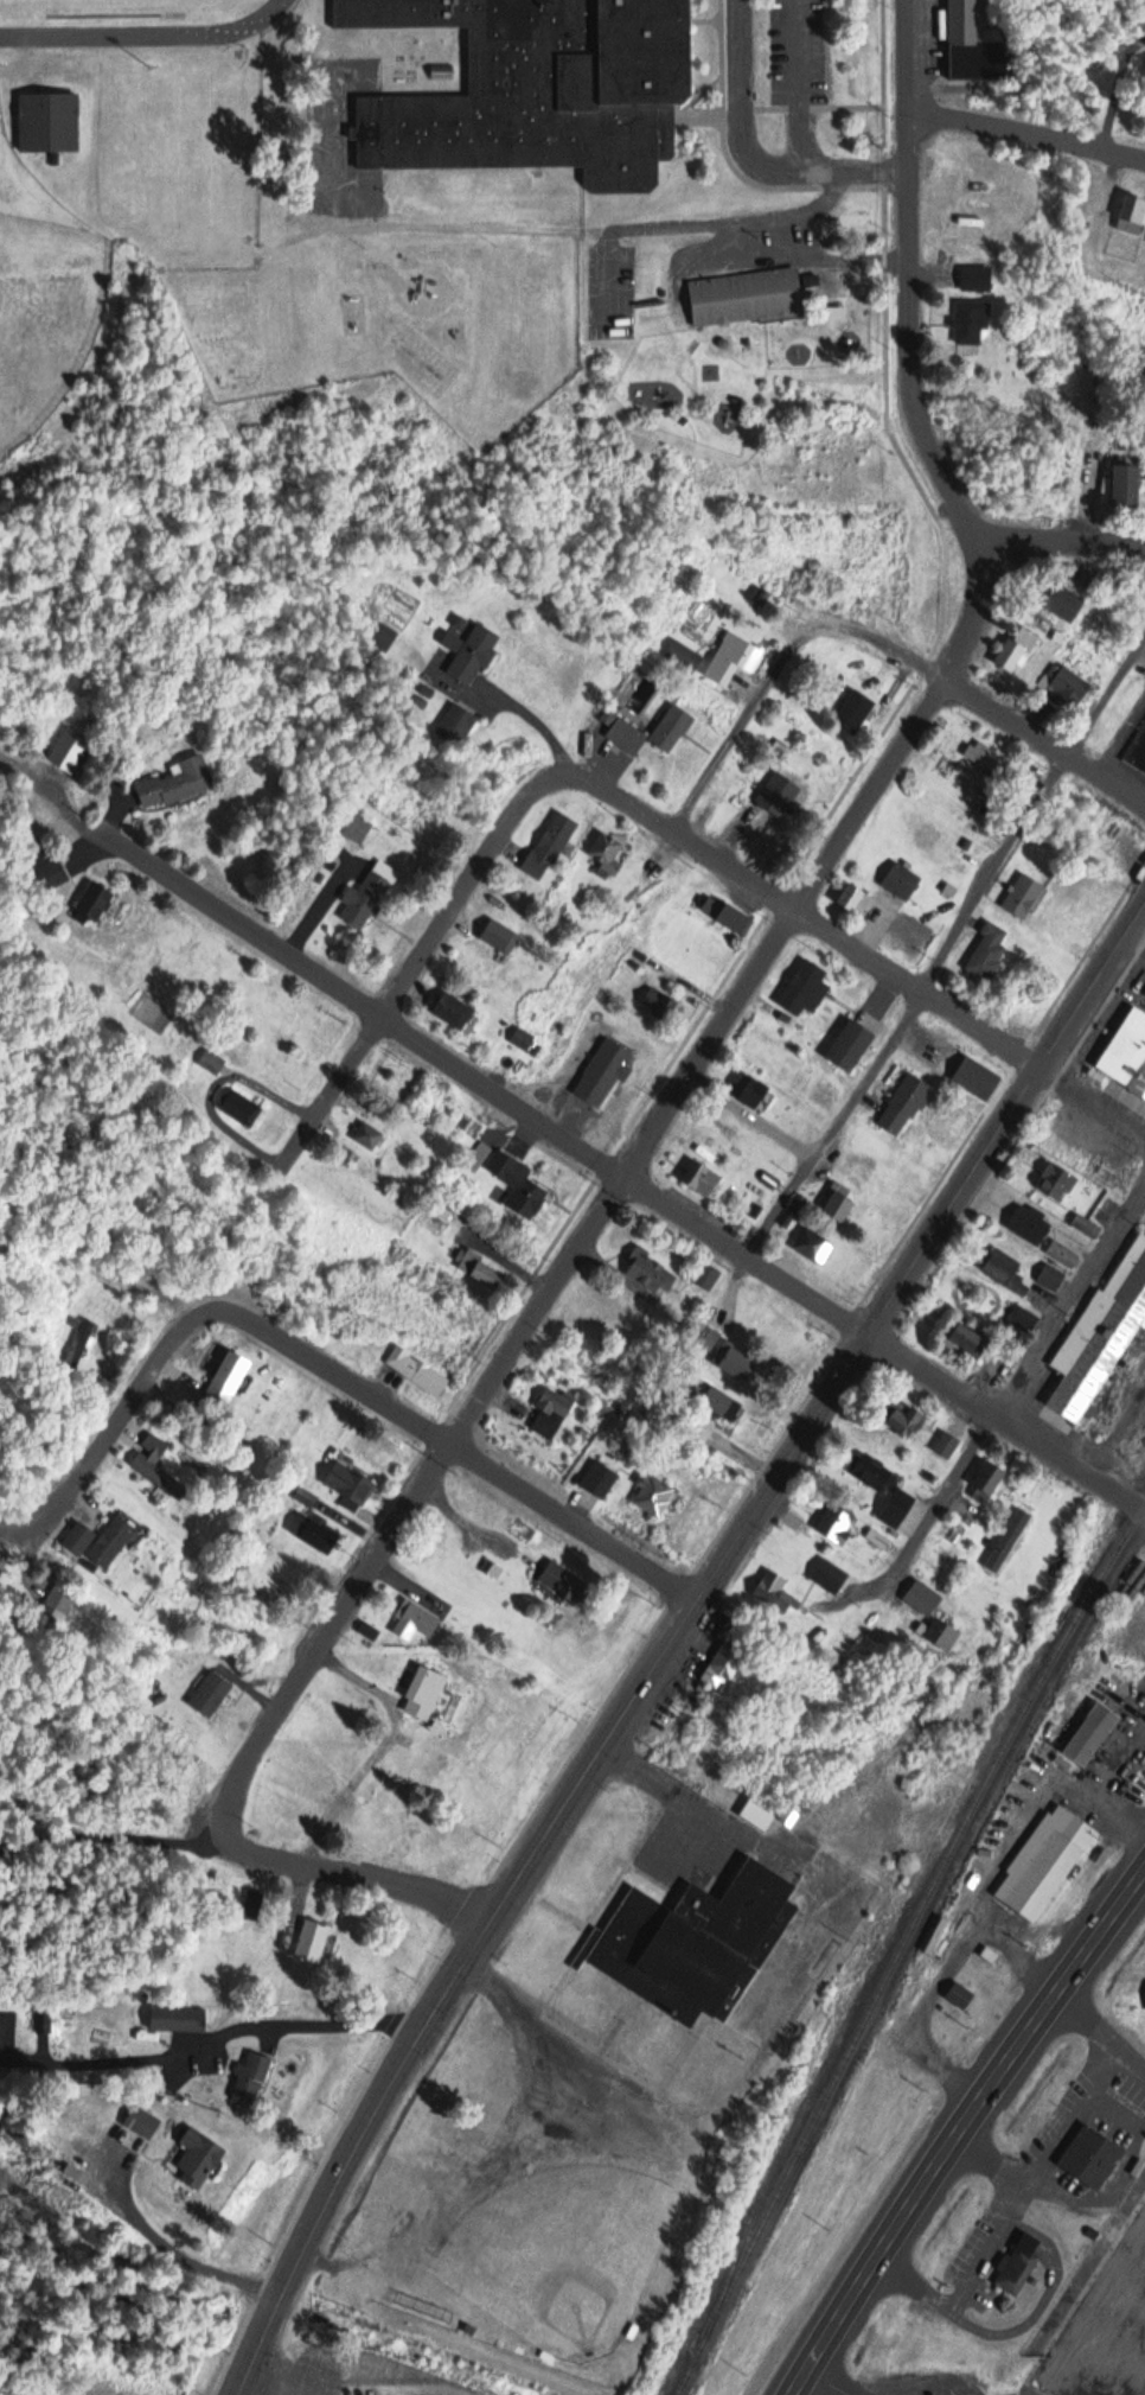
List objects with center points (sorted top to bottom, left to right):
park: (113, 4)
track: (146, 30)
building: (978, 44)
building: (543, 89)
building: (49, 123)
road: (1025, 135)
road: (747, 154)
road: (902, 174)
building: (1133, 219)
road: (909, 278)
building: (977, 279)
building: (763, 297)
park: (46, 314)
building: (972, 323)
building: (1127, 486)
road: (1061, 541)
building: (1066, 603)
building: (383, 637)
building: (1018, 650)
building: (471, 654)
building: (684, 657)
building: (733, 661)
building: (1069, 689)
road: (992, 708)
building: (855, 712)
road: (748, 722)
building: (456, 726)
building: (672, 730)
building: (626, 738)
building: (1138, 750)
building: (70, 751)
building: (991, 765)
building: (177, 784)
road: (618, 800)
building: (357, 829)
building: (550, 847)
building: (607, 852)
building: (51, 877)
building: (902, 881)
building: (1024, 897)
building: (364, 900)
building: (95, 903)
building: (859, 904)
building: (727, 916)
building: (500, 937)
road: (948, 949)
building: (989, 954)
road: (412, 966)
road: (910, 985)
building: (805, 989)
building: (452, 1011)
building: (524, 1037)
building: (851, 1047)
building: (1127, 1051)
building: (212, 1062)
building: (977, 1079)
building: (754, 1095)
building: (239, 1107)
building: (906, 1107)
building: (369, 1136)
road: (619, 1174)
road: (620, 1174)
building: (704, 1180)
building: (1056, 1183)
building: (519, 1185)
building: (839, 1205)
building: (1030, 1225)
building: (1087, 1225)
building: (807, 1242)
building: (1063, 1254)
building: (480, 1269)
building: (1004, 1269)
building: (651, 1272)
building: (708, 1276)
building: (1051, 1278)
building: (1024, 1323)
building: (1104, 1332)
building: (970, 1338)
building: (81, 1343)
building: (734, 1361)
building: (417, 1371)
road: (1016, 1383)
building: (225, 1384)
road: (359, 1384)
building: (719, 1403)
building: (550, 1415)
building: (903, 1419)
road: (109, 1434)
building: (947, 1445)
building: (156, 1464)
building: (874, 1472)
building: (599, 1479)
building: (350, 1482)
building: (990, 1484)
building: (654, 1493)
building: (897, 1508)
road: (353, 1523)
building: (837, 1524)
building: (314, 1533)
building: (101, 1541)
building: (1005, 1544)
building: (830, 1577)
building: (559, 1580)
building: (775, 1593)
building: (923, 1598)
building: (47, 1622)
building: (414, 1622)
road: (672, 1638)
building: (724, 1667)
building: (211, 1694)
building: (426, 1694)
building: (1090, 1733)
road: (1101, 1788)
building: (757, 1815)
road: (110, 1835)
building: (1047, 1860)
road: (341, 1871)
building: (313, 1939)
building: (693, 1939)
railway: (903, 1944)
building: (959, 1990)
building: (178, 2019)
road: (302, 2020)
building: (251, 2075)
road: (962, 2129)
building: (200, 2155)
building: (1090, 2155)
road: (994, 2162)
building: (97, 2164)
road: (1036, 2180)
railway: (757, 2199)
road: (165, 2242)
park: (567, 2249)
building: (1018, 2262)
road: (826, 2382)

